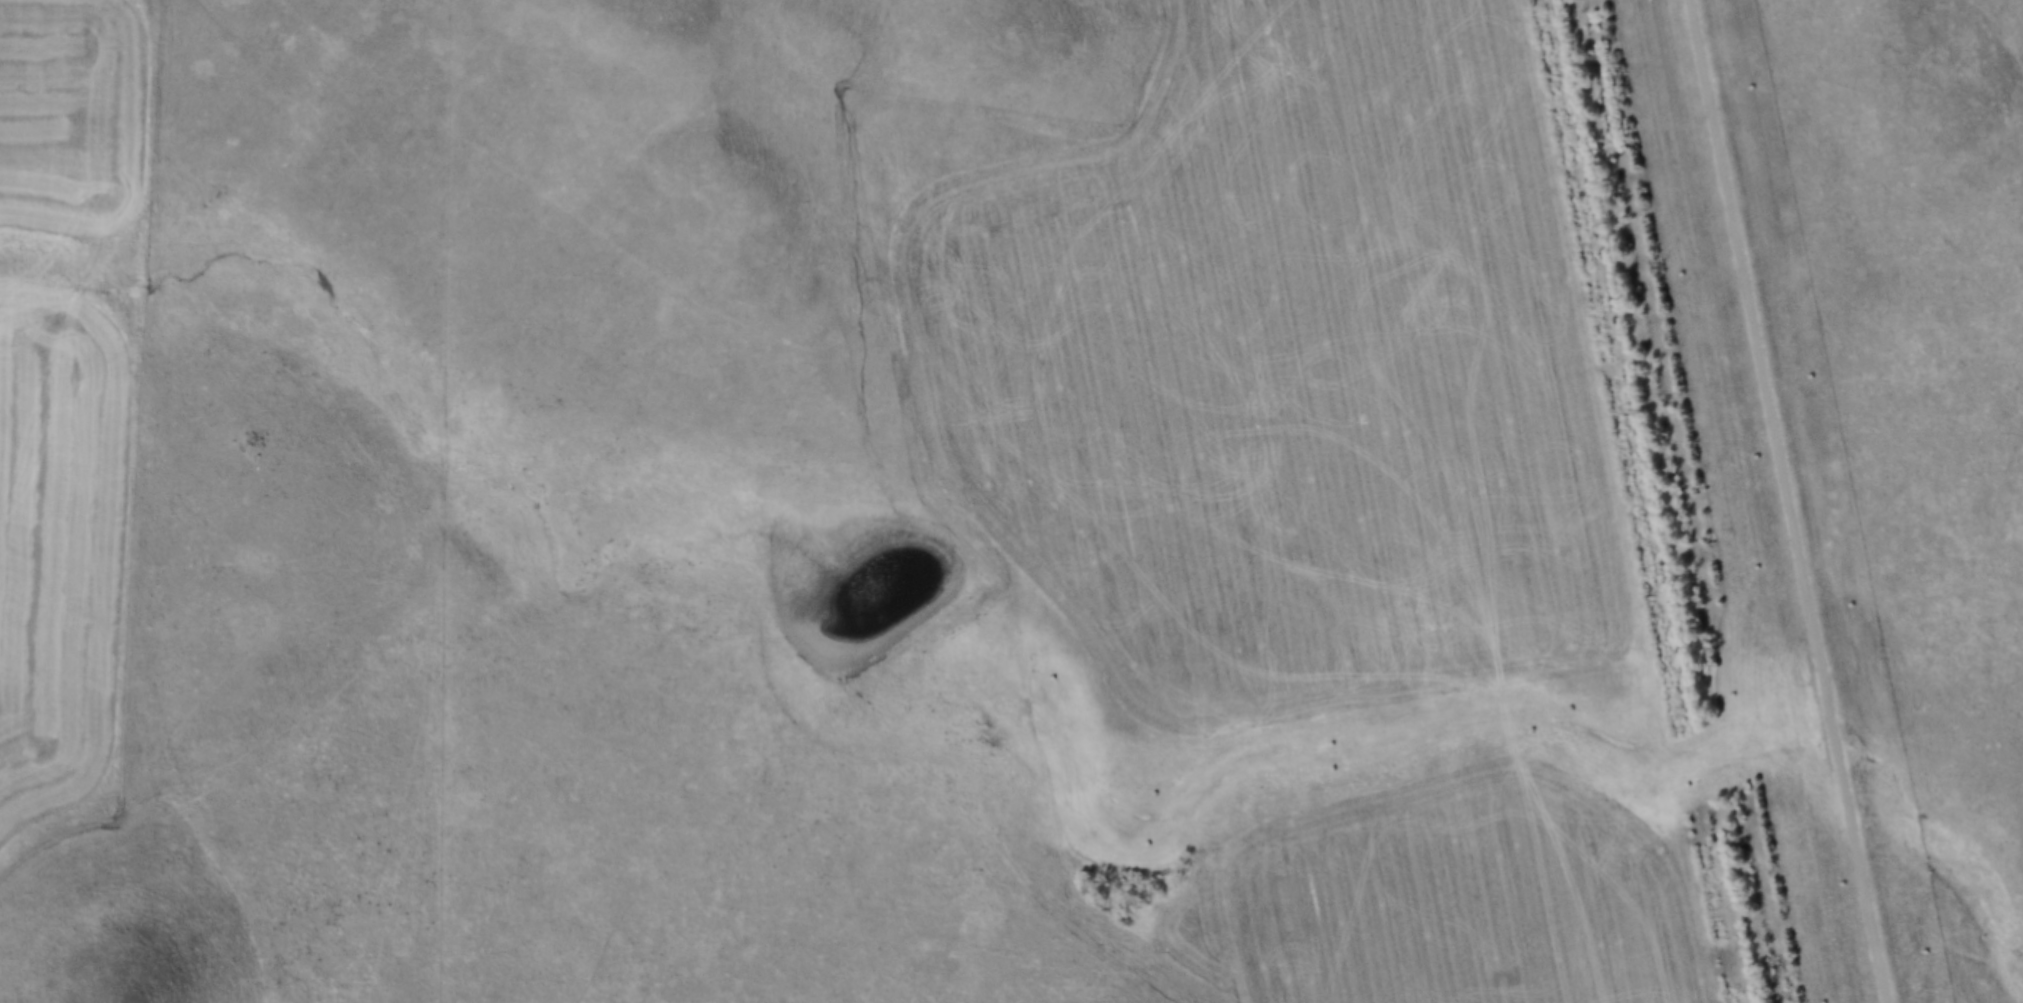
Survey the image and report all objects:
road: (1793, 501)
road: (58, 832)

